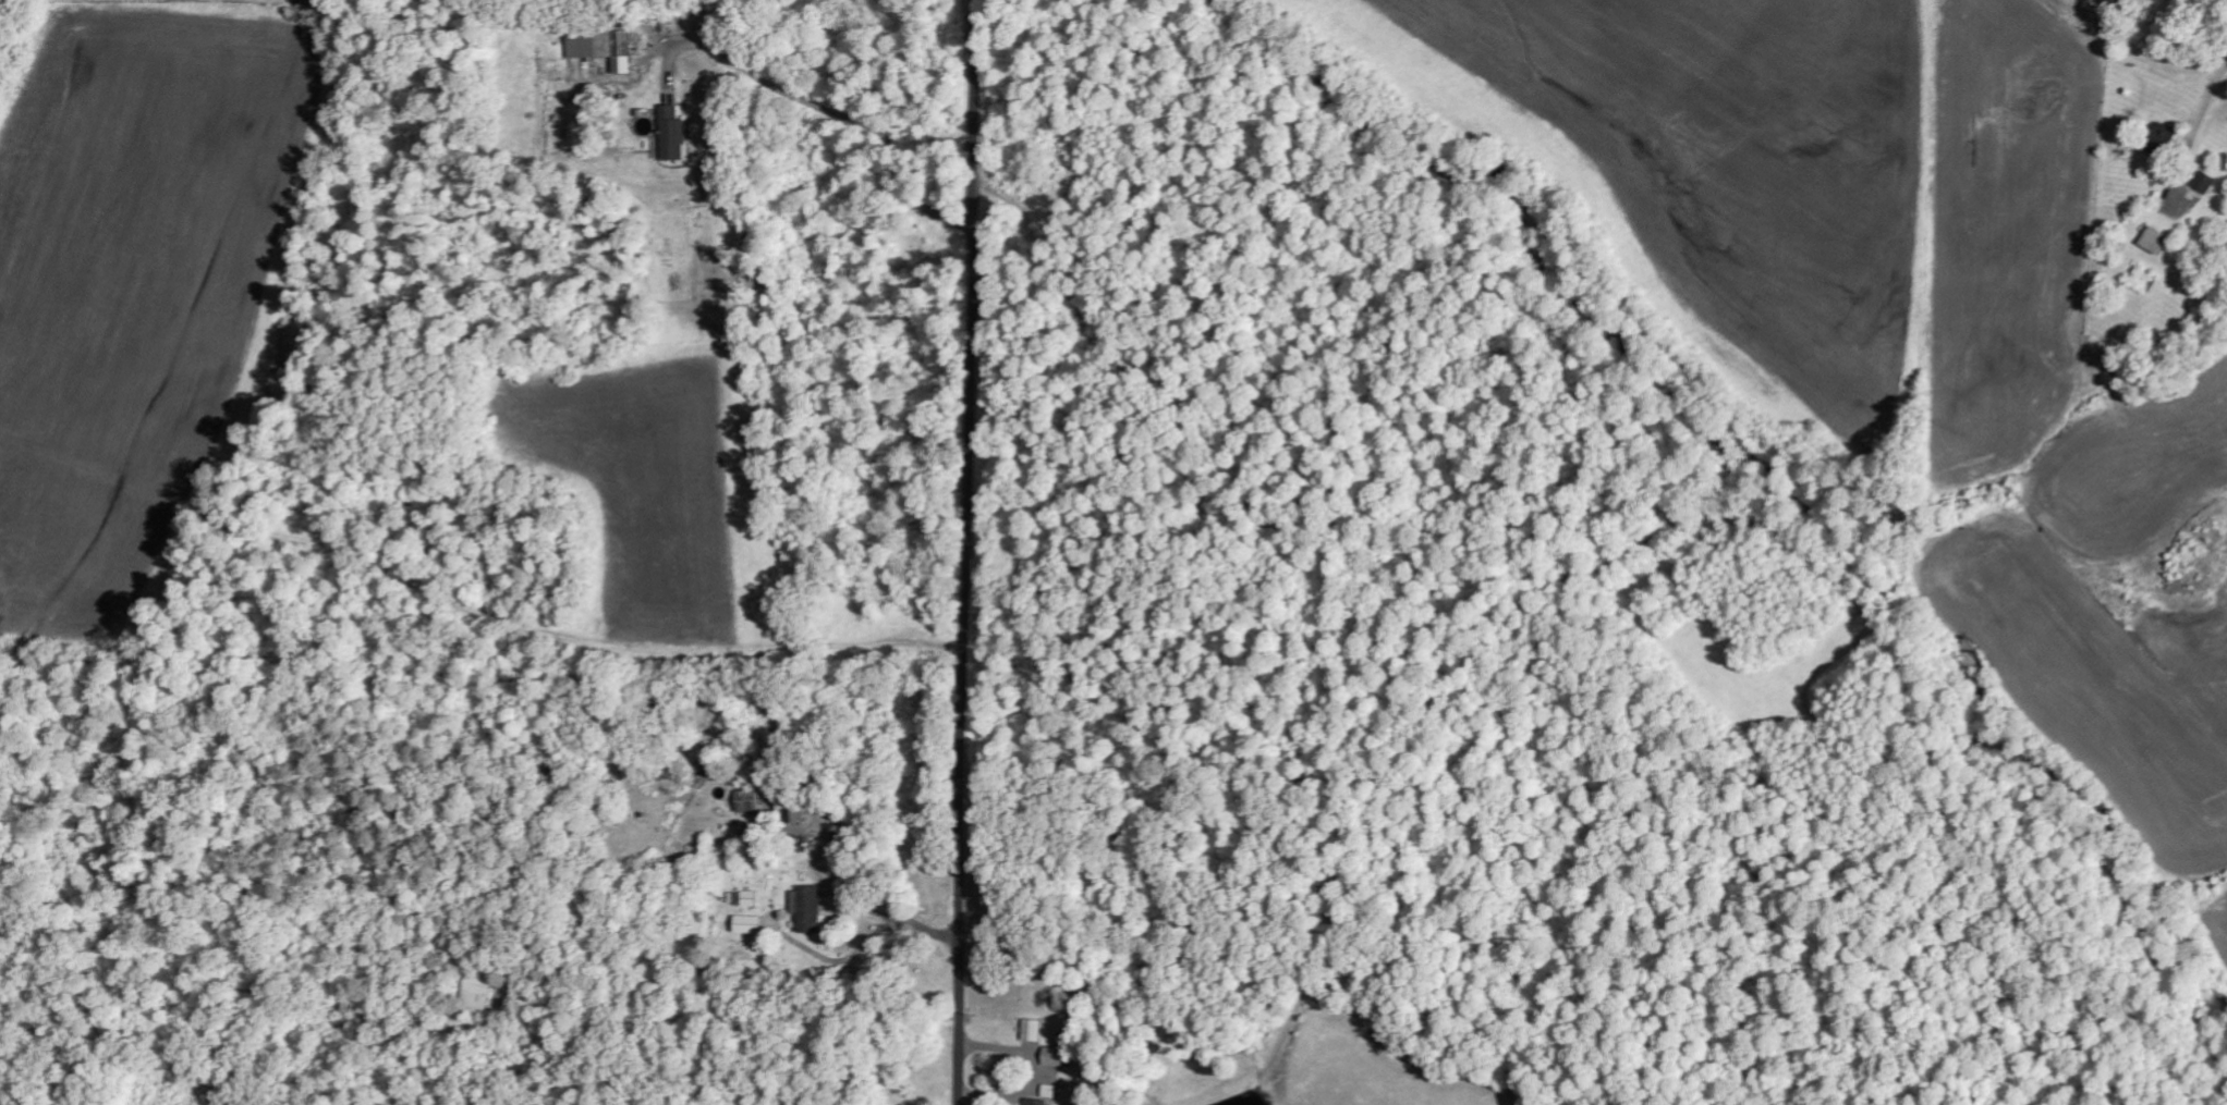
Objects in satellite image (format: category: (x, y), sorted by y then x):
building: (600, 47)
road: (2210, 108)
building: (671, 133)
building: (2159, 136)
building: (2205, 182)
building: (2154, 241)
road: (971, 552)
building: (749, 801)
building: (805, 908)
building: (746, 923)
building: (1034, 1030)
building: (1056, 1056)
building: (1037, 1102)

